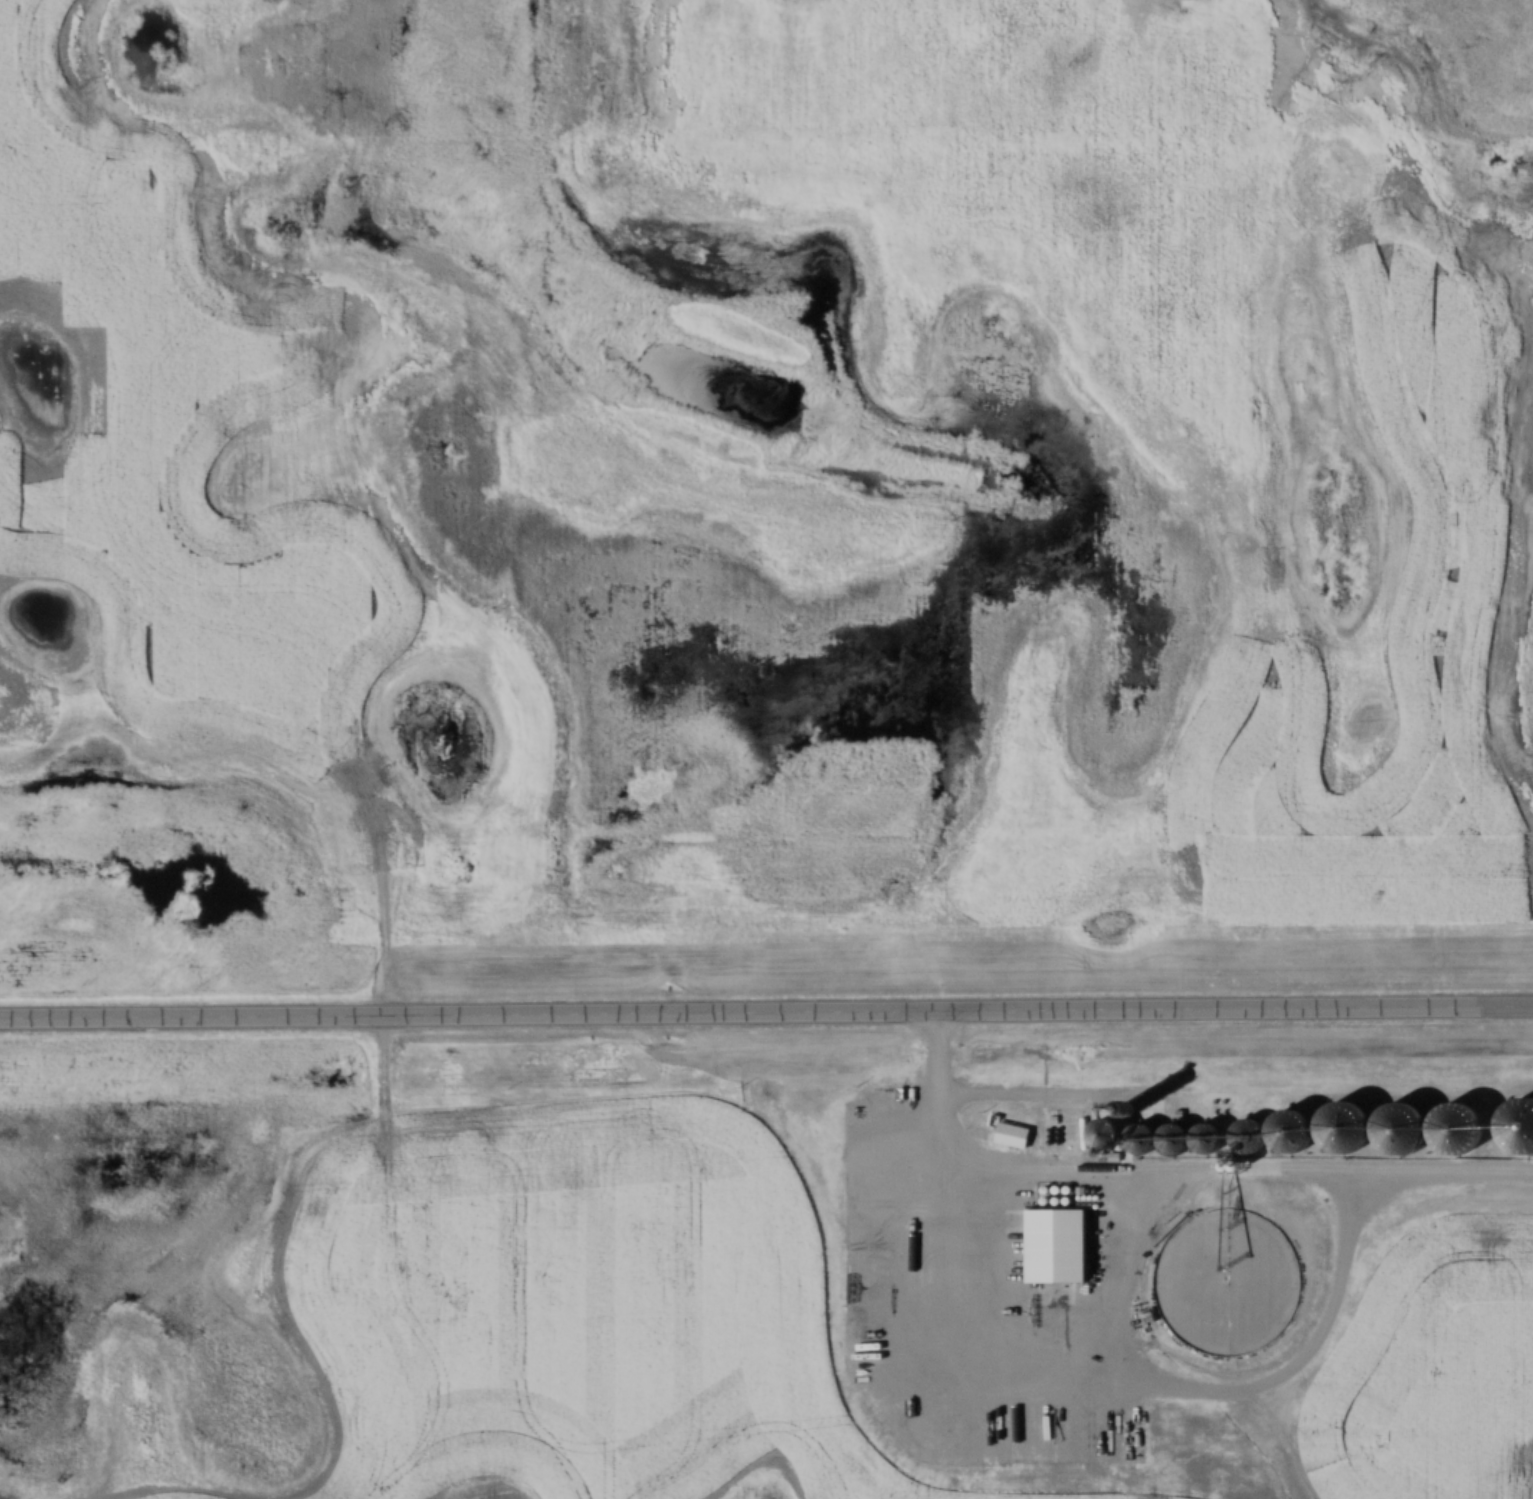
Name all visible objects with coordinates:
road: (766, 1018)
building: (1352, 1126)
building: (1004, 1135)
building: (1049, 1253)

